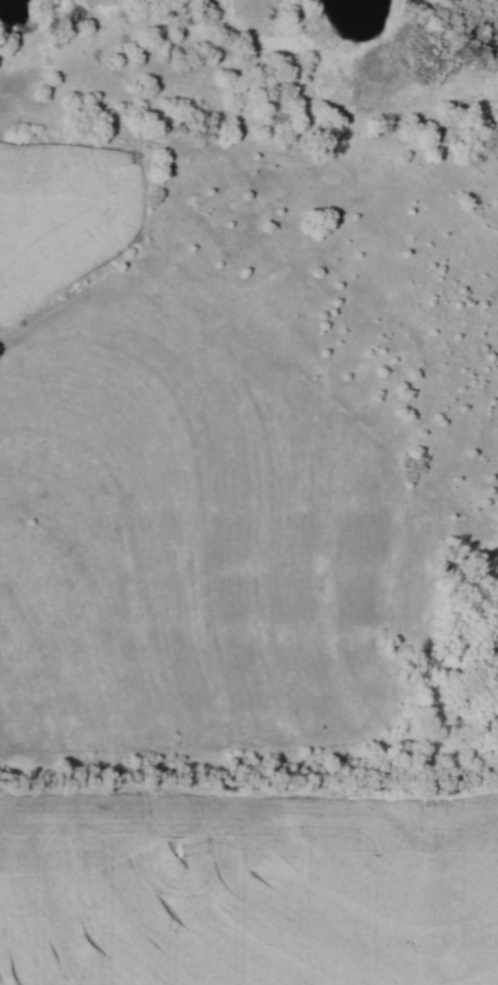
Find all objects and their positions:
power tower: (178, 851)

